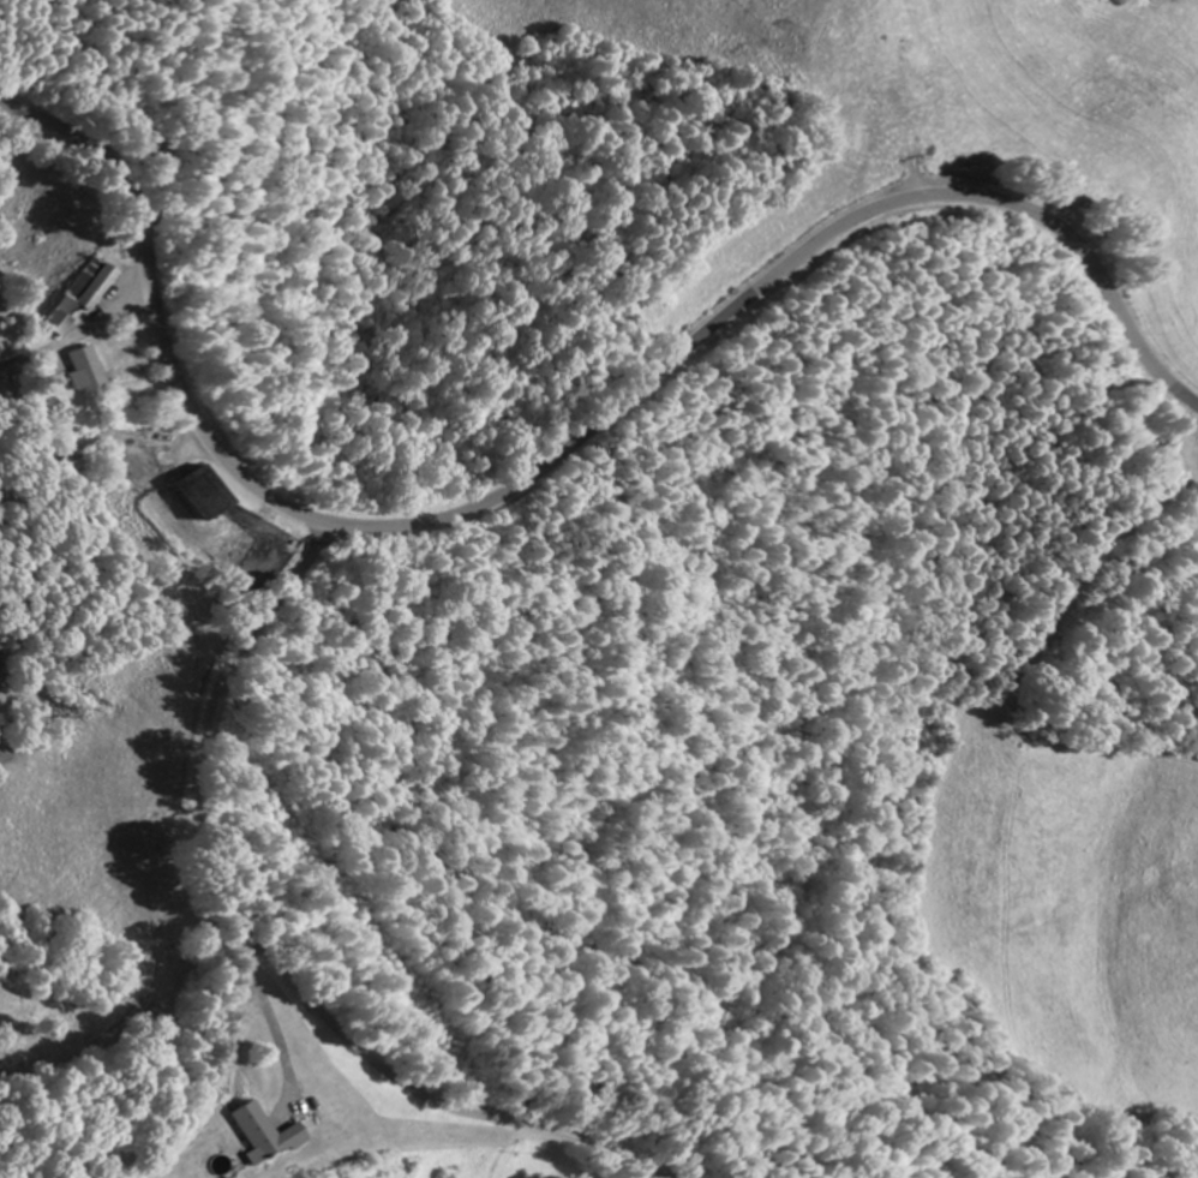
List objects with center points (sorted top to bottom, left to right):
building: (80, 295)
building: (85, 369)
road: (557, 454)
building: (199, 494)
road: (254, 950)
building: (265, 1134)

